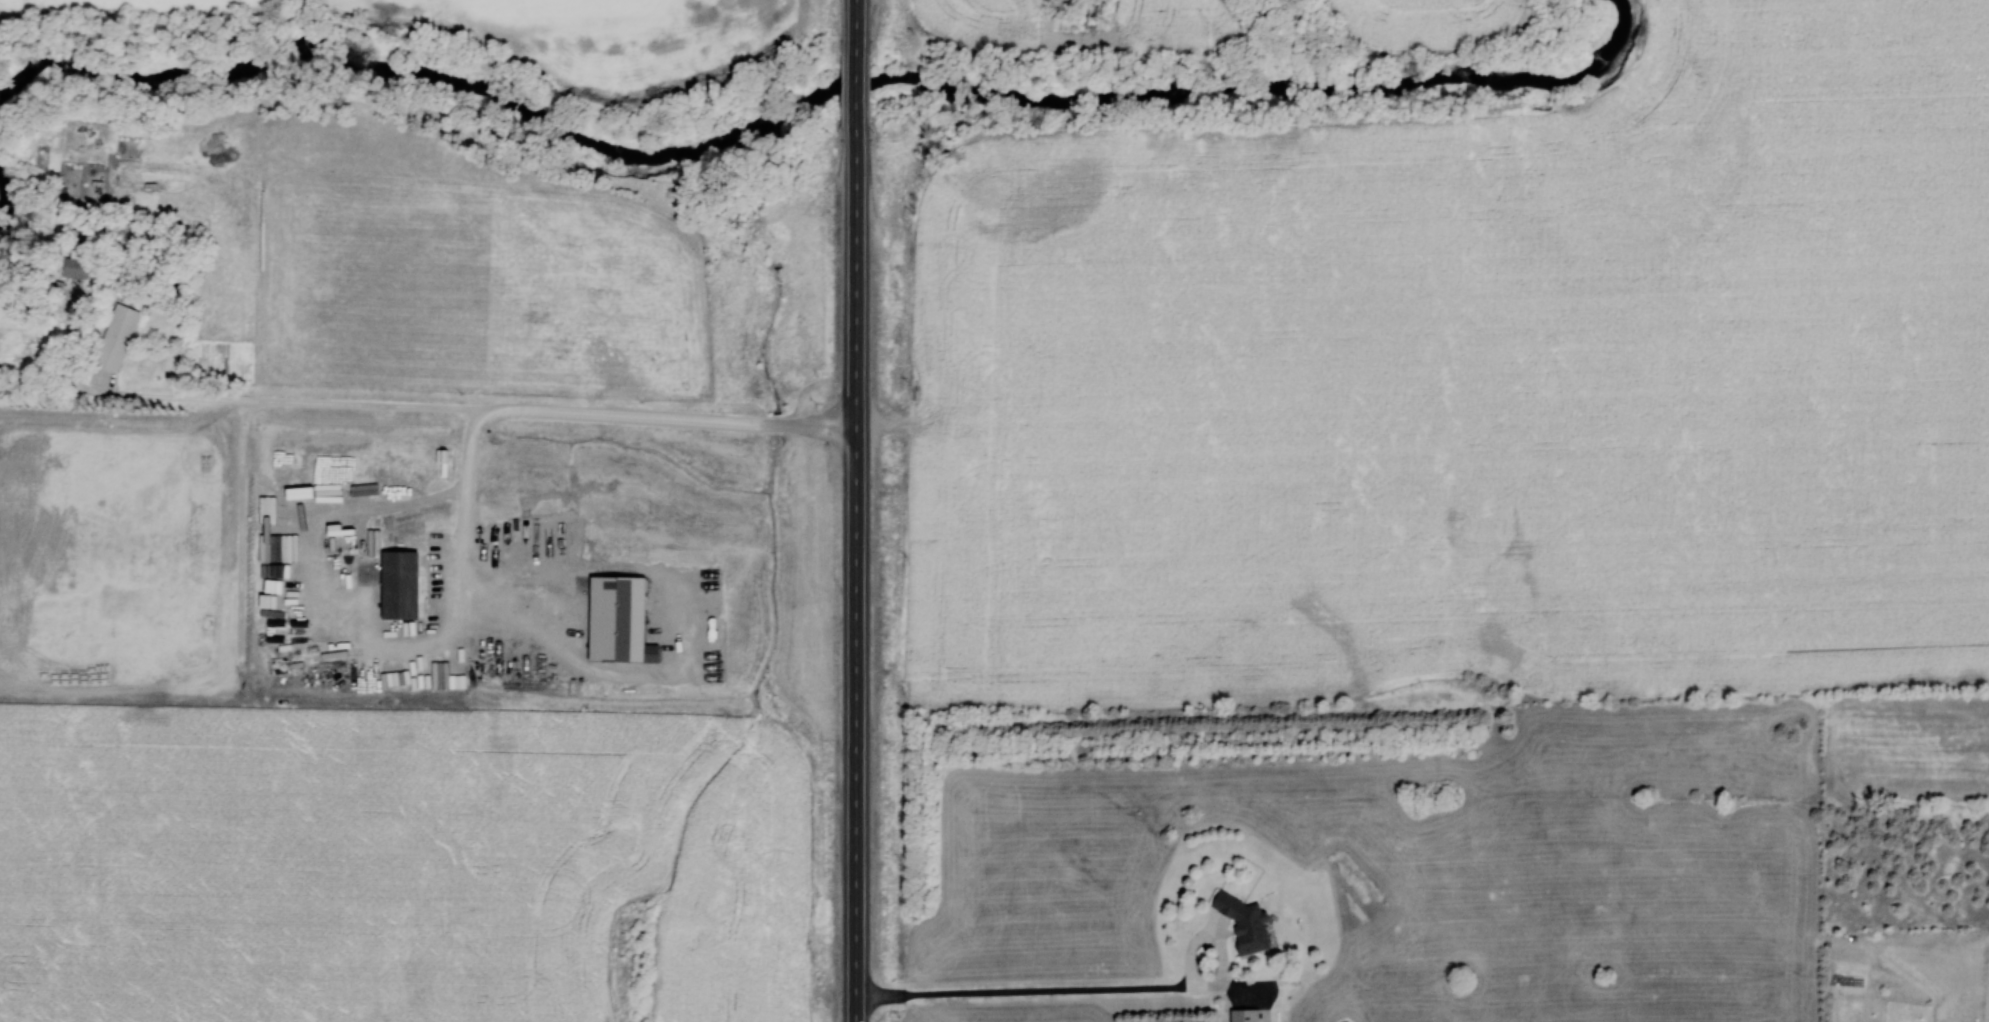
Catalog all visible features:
road: (859, 34)
road: (859, 101)
river: (806, 118)
building: (76, 264)
building: (116, 338)
road: (300, 405)
road: (469, 570)
road: (854, 578)
building: (400, 584)
road: (332, 592)
building: (619, 620)
building: (1244, 922)
road: (1097, 990)
building: (1245, 1015)

